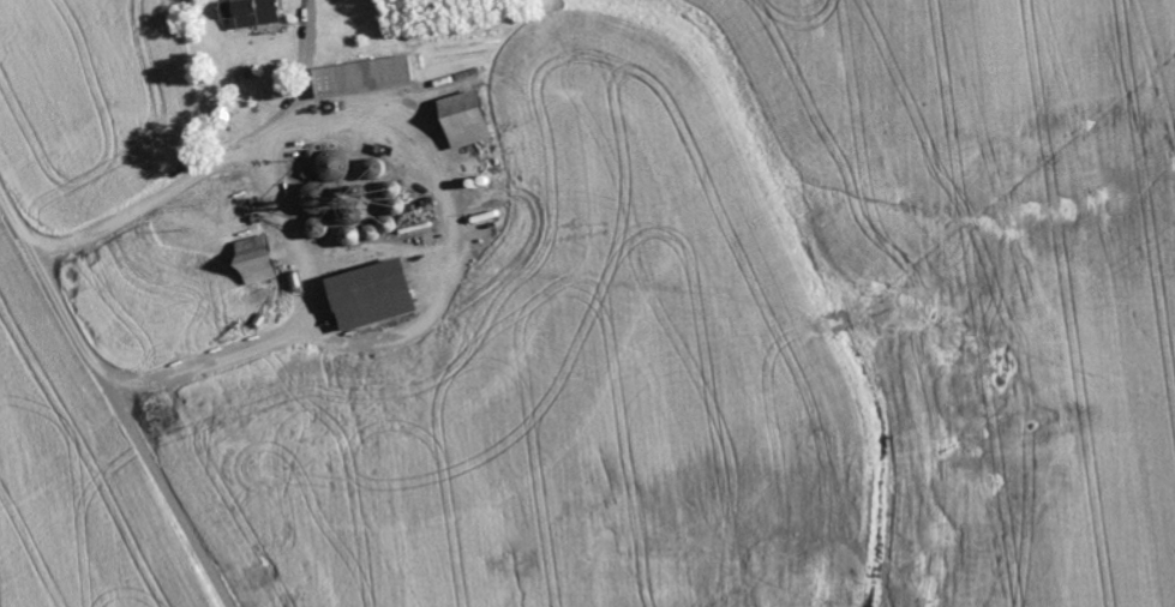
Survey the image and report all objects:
building: (254, 13)
building: (367, 78)
building: (470, 121)
road: (252, 196)
building: (322, 202)
building: (260, 265)
building: (377, 298)
road: (114, 401)

